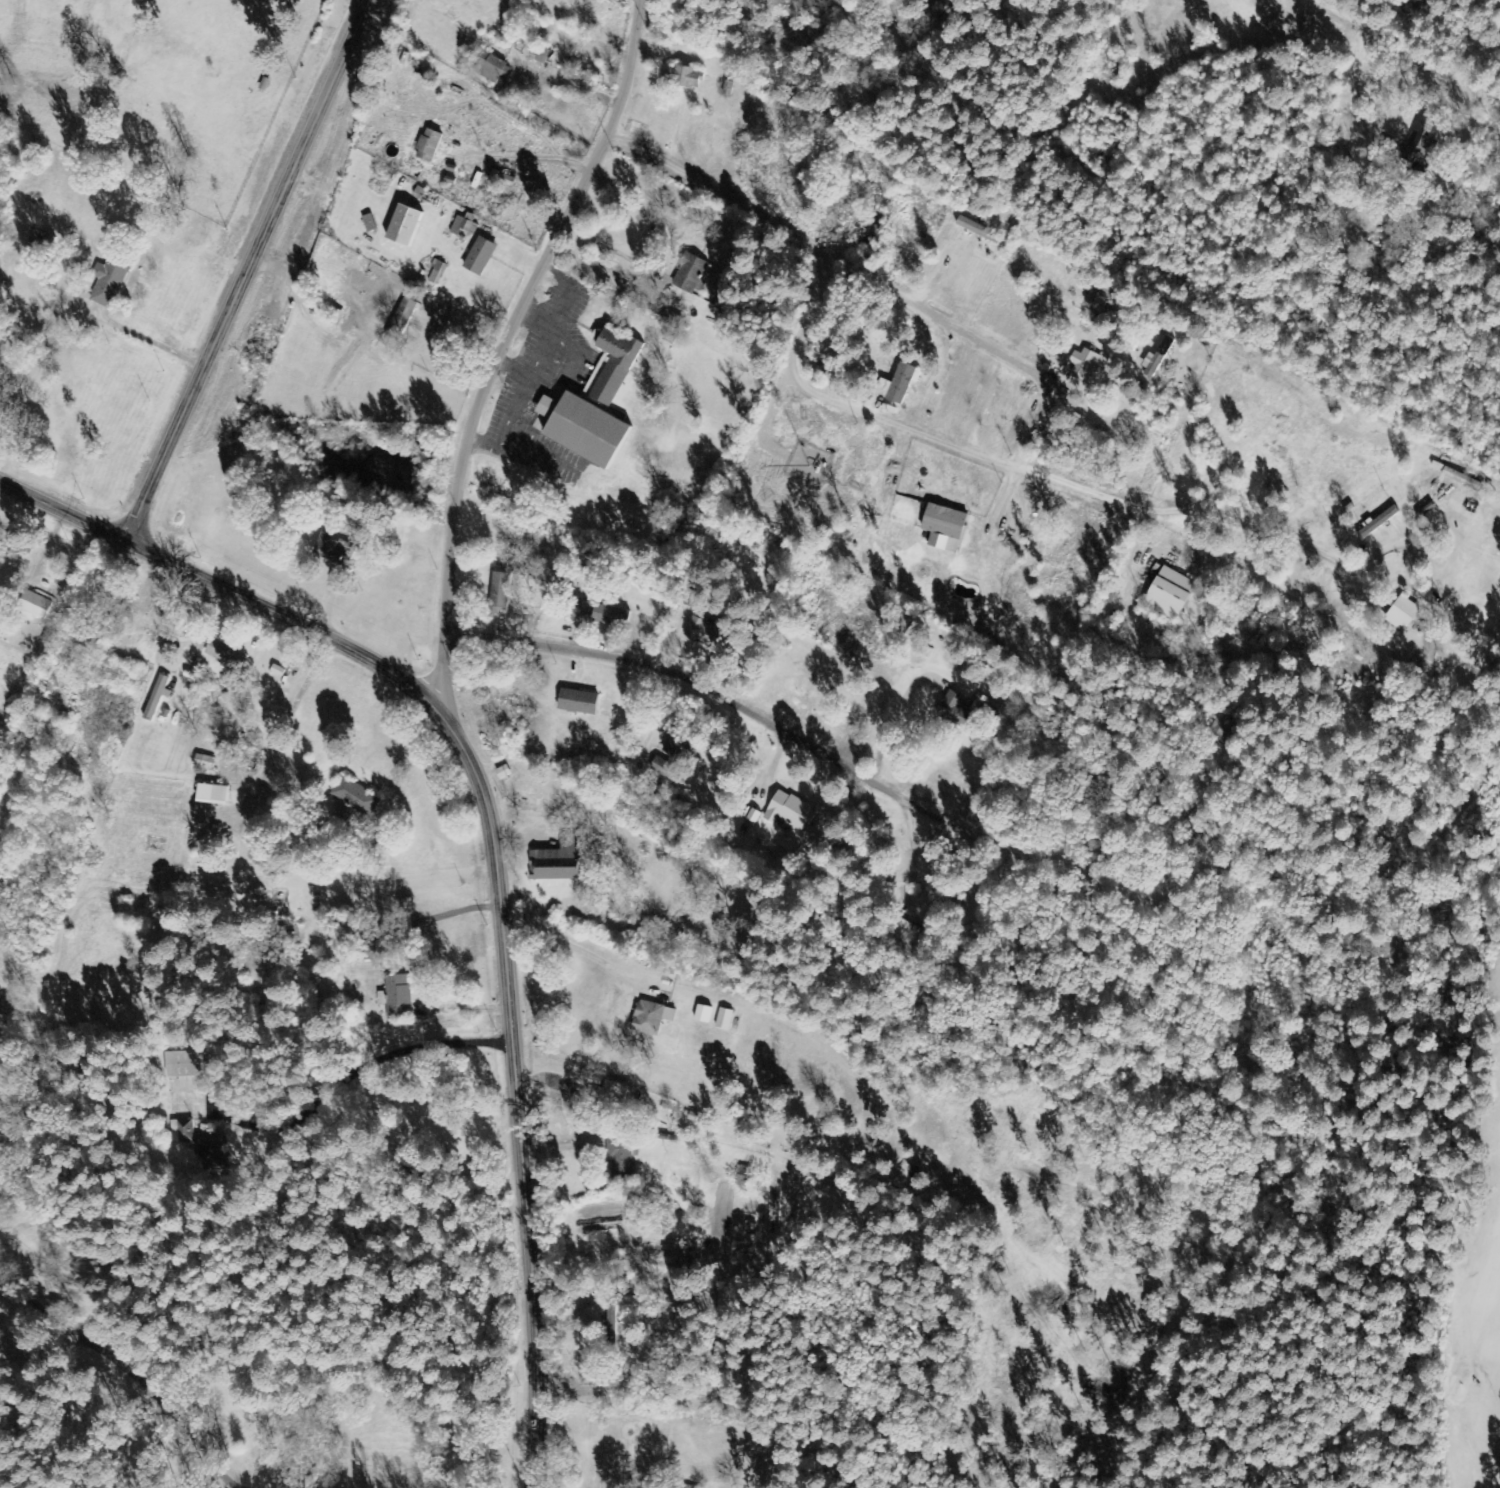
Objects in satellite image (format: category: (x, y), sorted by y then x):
building: (533, 51)
building: (490, 67)
building: (680, 78)
building: (426, 147)
building: (1416, 147)
building: (367, 224)
building: (400, 227)
building: (461, 228)
building: (976, 231)
building: (43, 243)
road: (806, 244)
building: (477, 258)
road: (246, 267)
building: (435, 274)
building: (688, 275)
building: (115, 277)
building: (1098, 305)
building: (393, 332)
road: (510, 343)
building: (1156, 357)
building: (611, 366)
building: (1083, 367)
building: (895, 385)
building: (578, 431)
building: (941, 529)
building: (327, 548)
building: (498, 594)
building: (1165, 594)
building: (35, 604)
building: (582, 611)
building: (1401, 614)
building: (607, 617)
building: (698, 630)
building: (218, 651)
road: (658, 677)
building: (156, 698)
building: (574, 703)
building: (202, 766)
building: (208, 795)
building: (351, 801)
building: (787, 813)
road: (493, 844)
building: (558, 859)
building: (373, 944)
building: (396, 999)
building: (700, 1015)
building: (649, 1019)
building: (722, 1020)
building: (181, 1065)
building: (612, 1094)
road: (388, 1136)
building: (189, 1139)
building: (621, 1158)
building: (741, 1177)
park: (1458, 1224)
road: (383, 1258)
road: (123, 1383)

